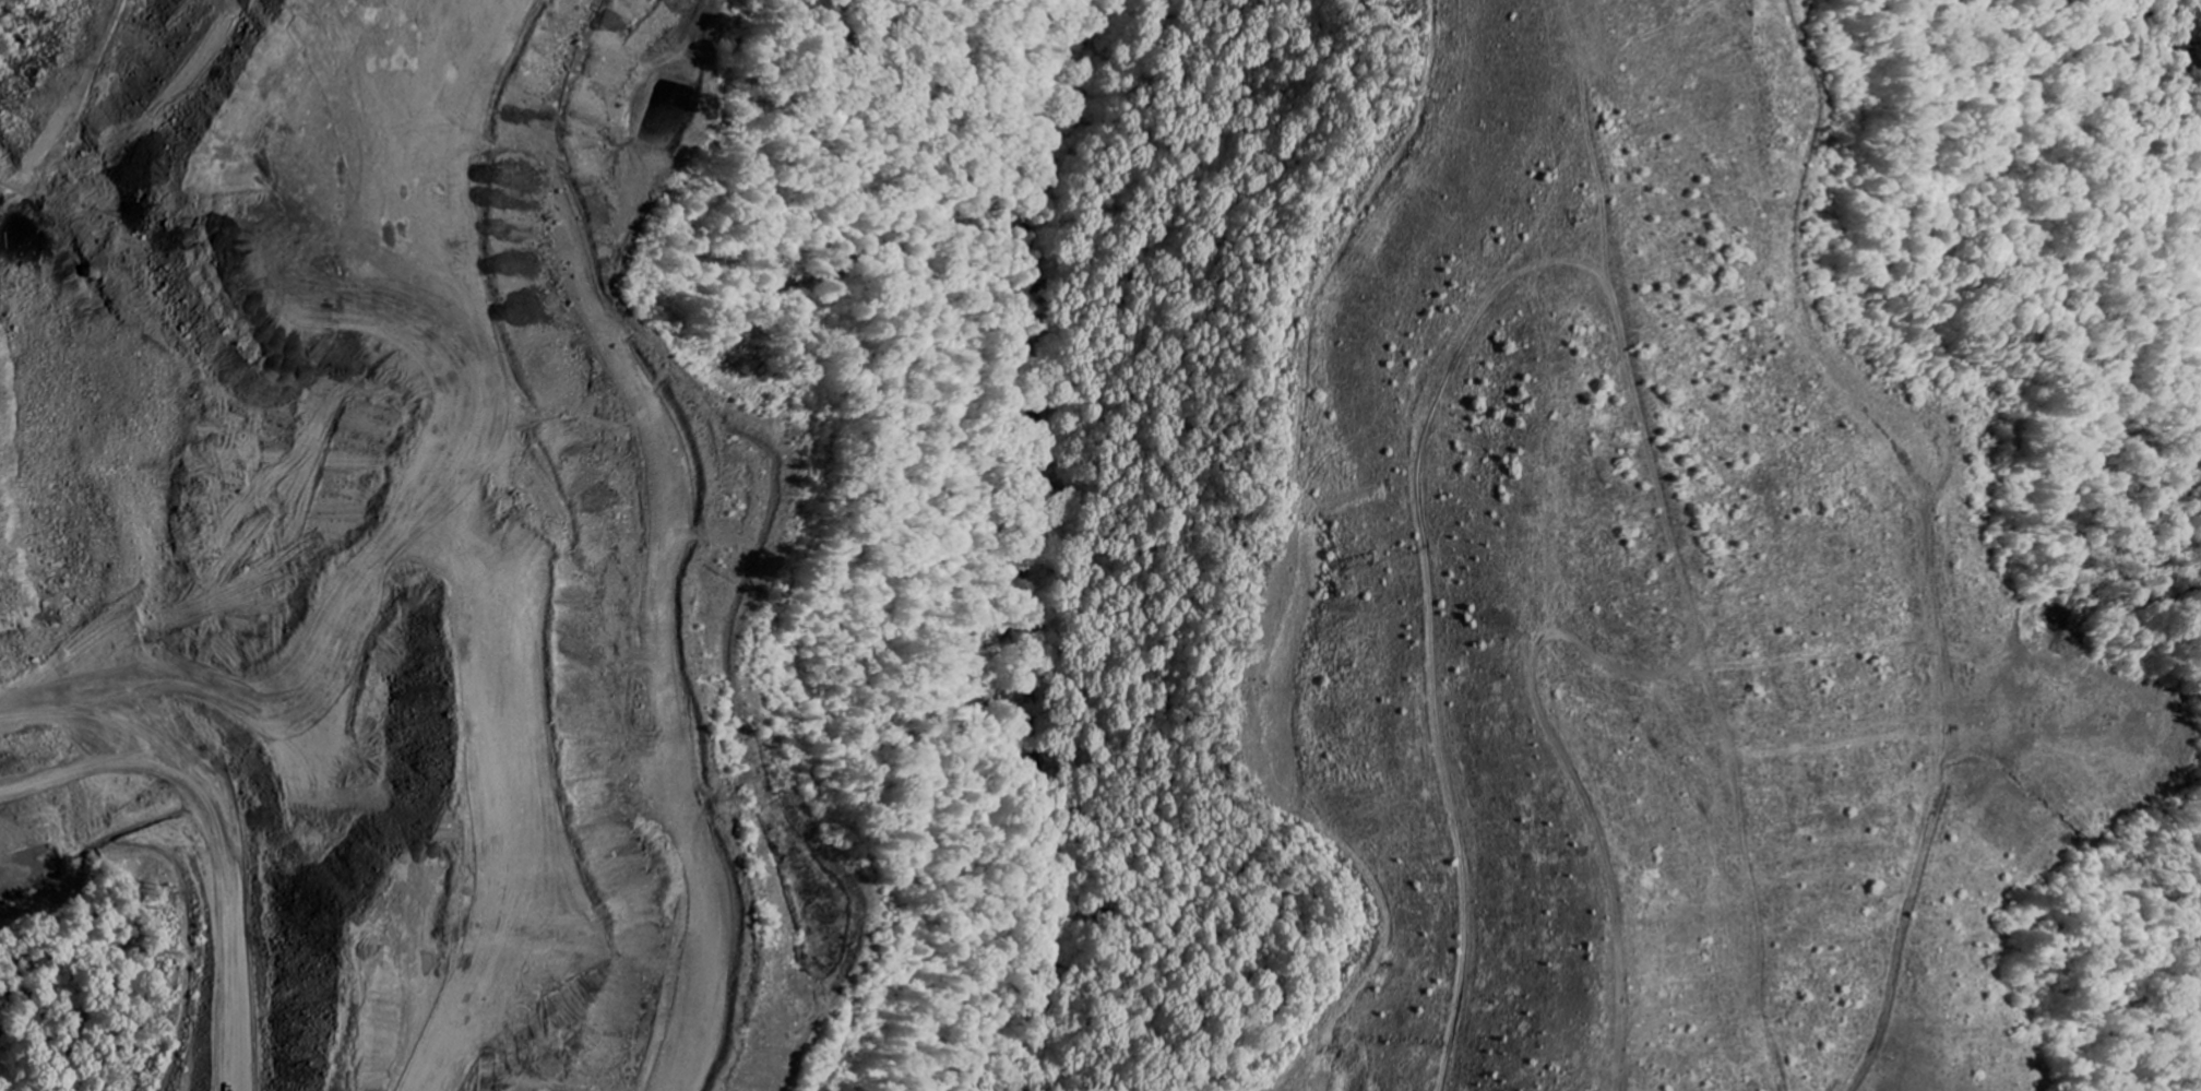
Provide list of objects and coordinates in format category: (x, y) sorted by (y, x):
quarry: (1059, 559)

